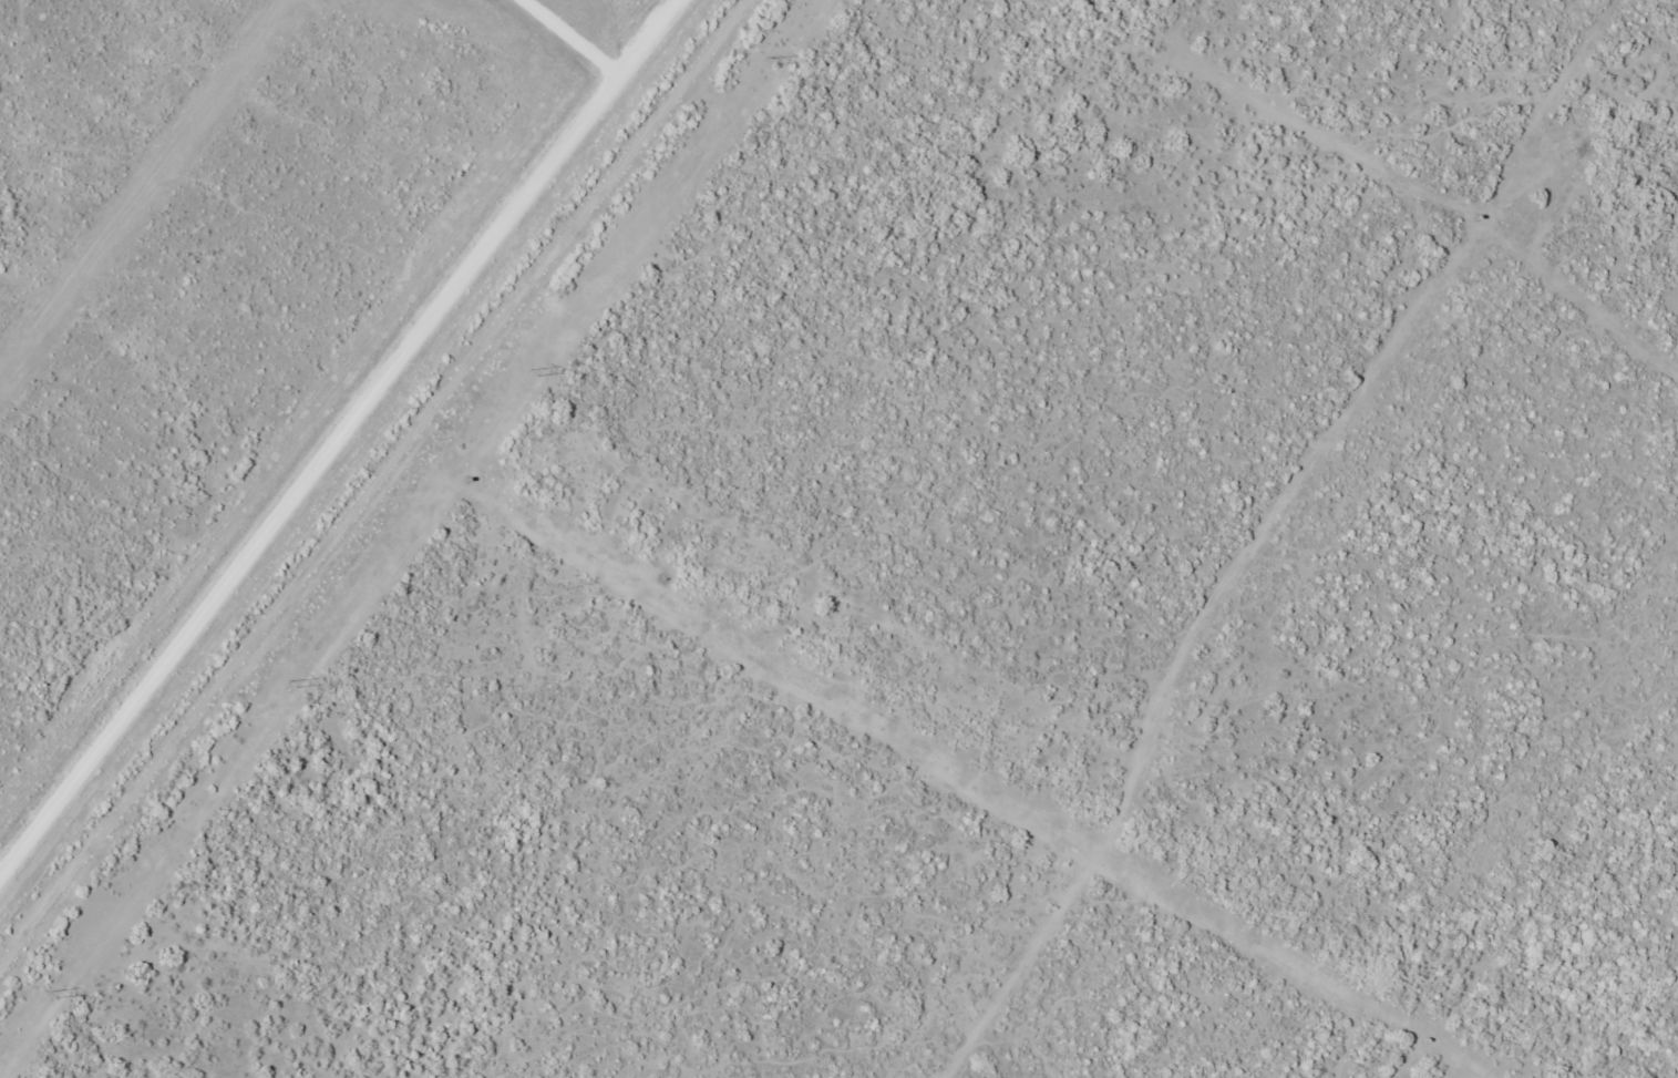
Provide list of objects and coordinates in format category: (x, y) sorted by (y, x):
power tower: (773, 61)
power tower: (533, 372)
road: (400, 515)
power tower: (292, 684)
power tower: (52, 995)

